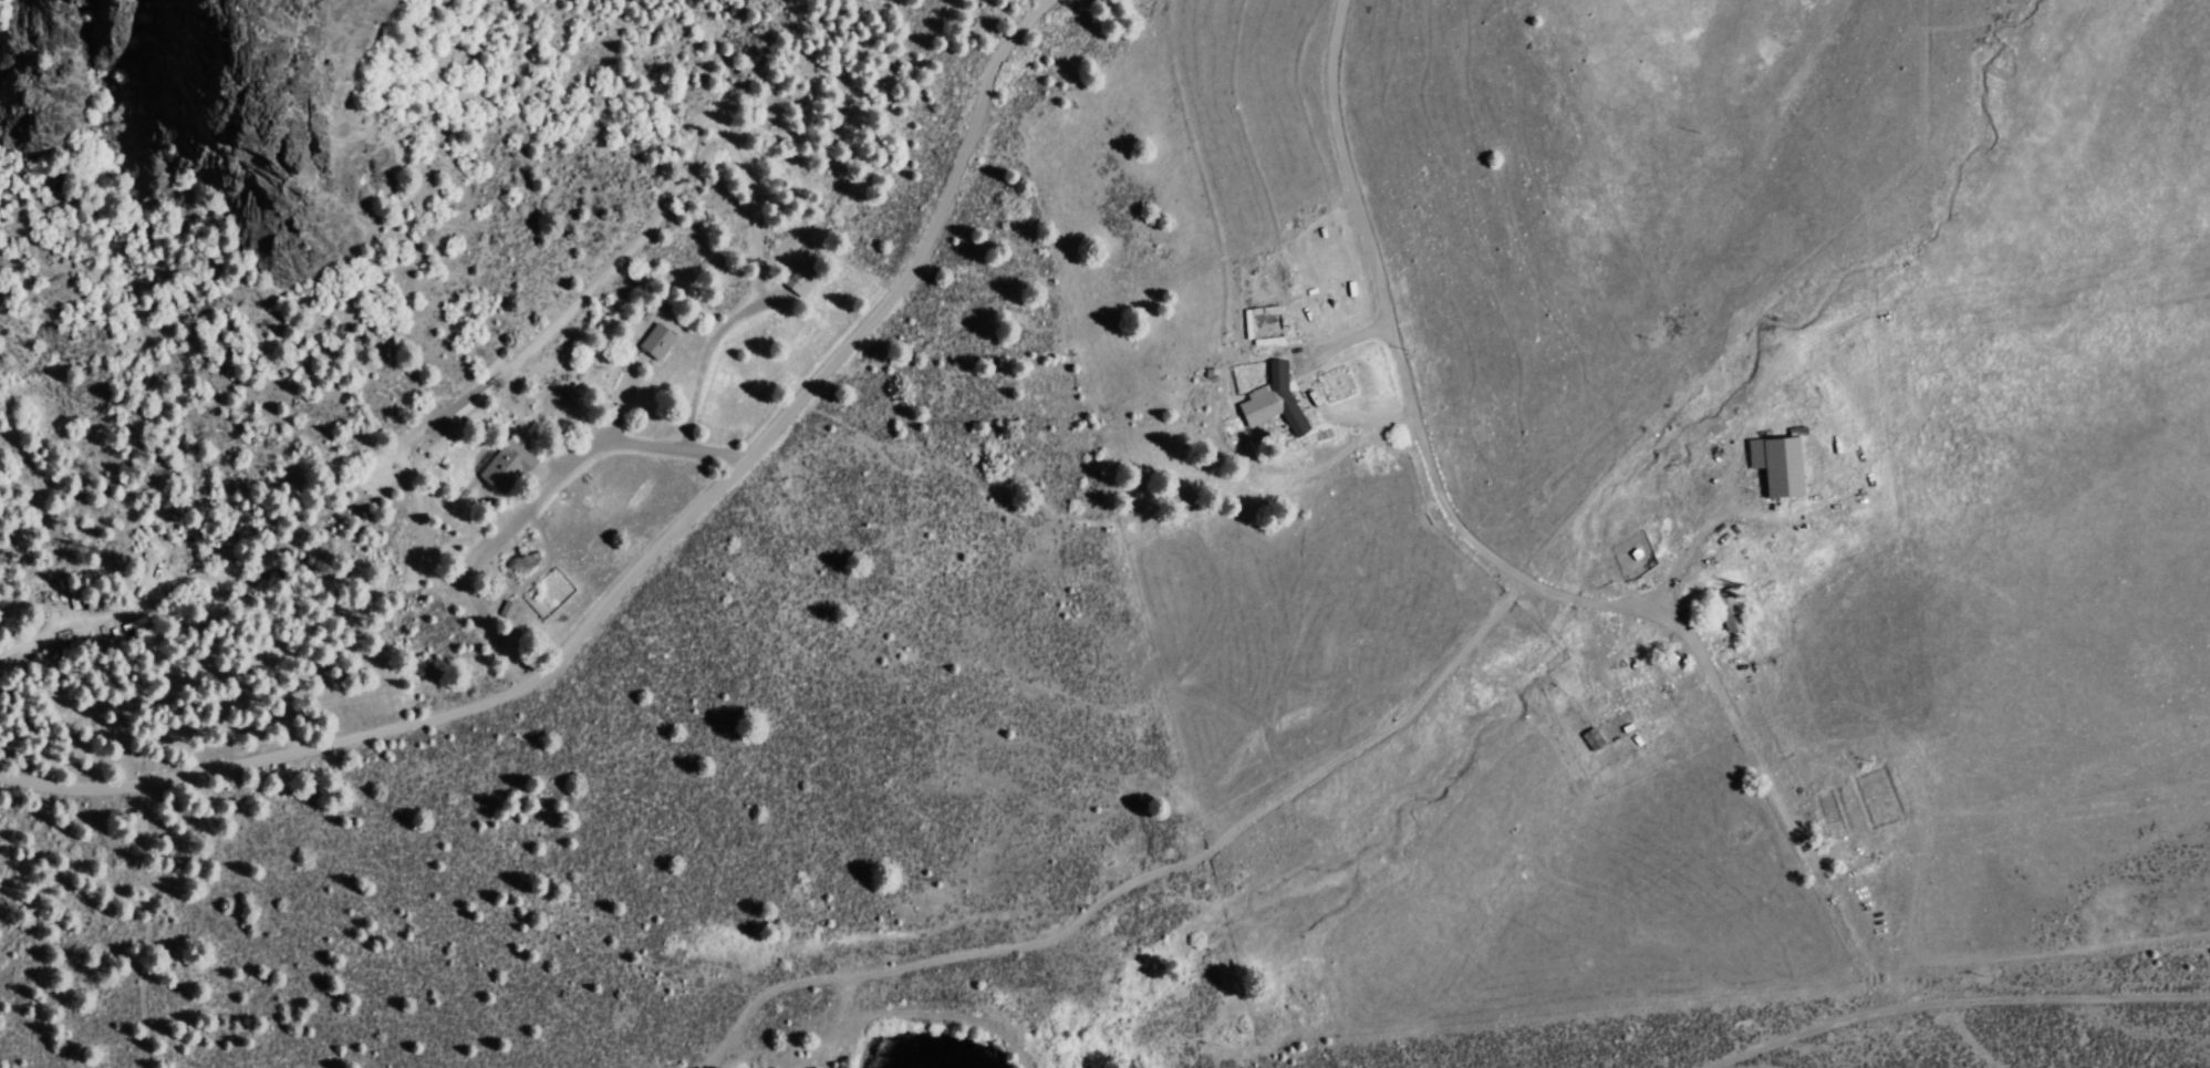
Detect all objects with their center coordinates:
building: (796, 279)
building: (654, 340)
building: (1272, 398)
road: (1414, 402)
building: (1775, 463)
building: (502, 465)
road: (637, 562)
building: (505, 608)
crop: (1317, 702)
building: (1590, 737)
road: (2075, 975)

